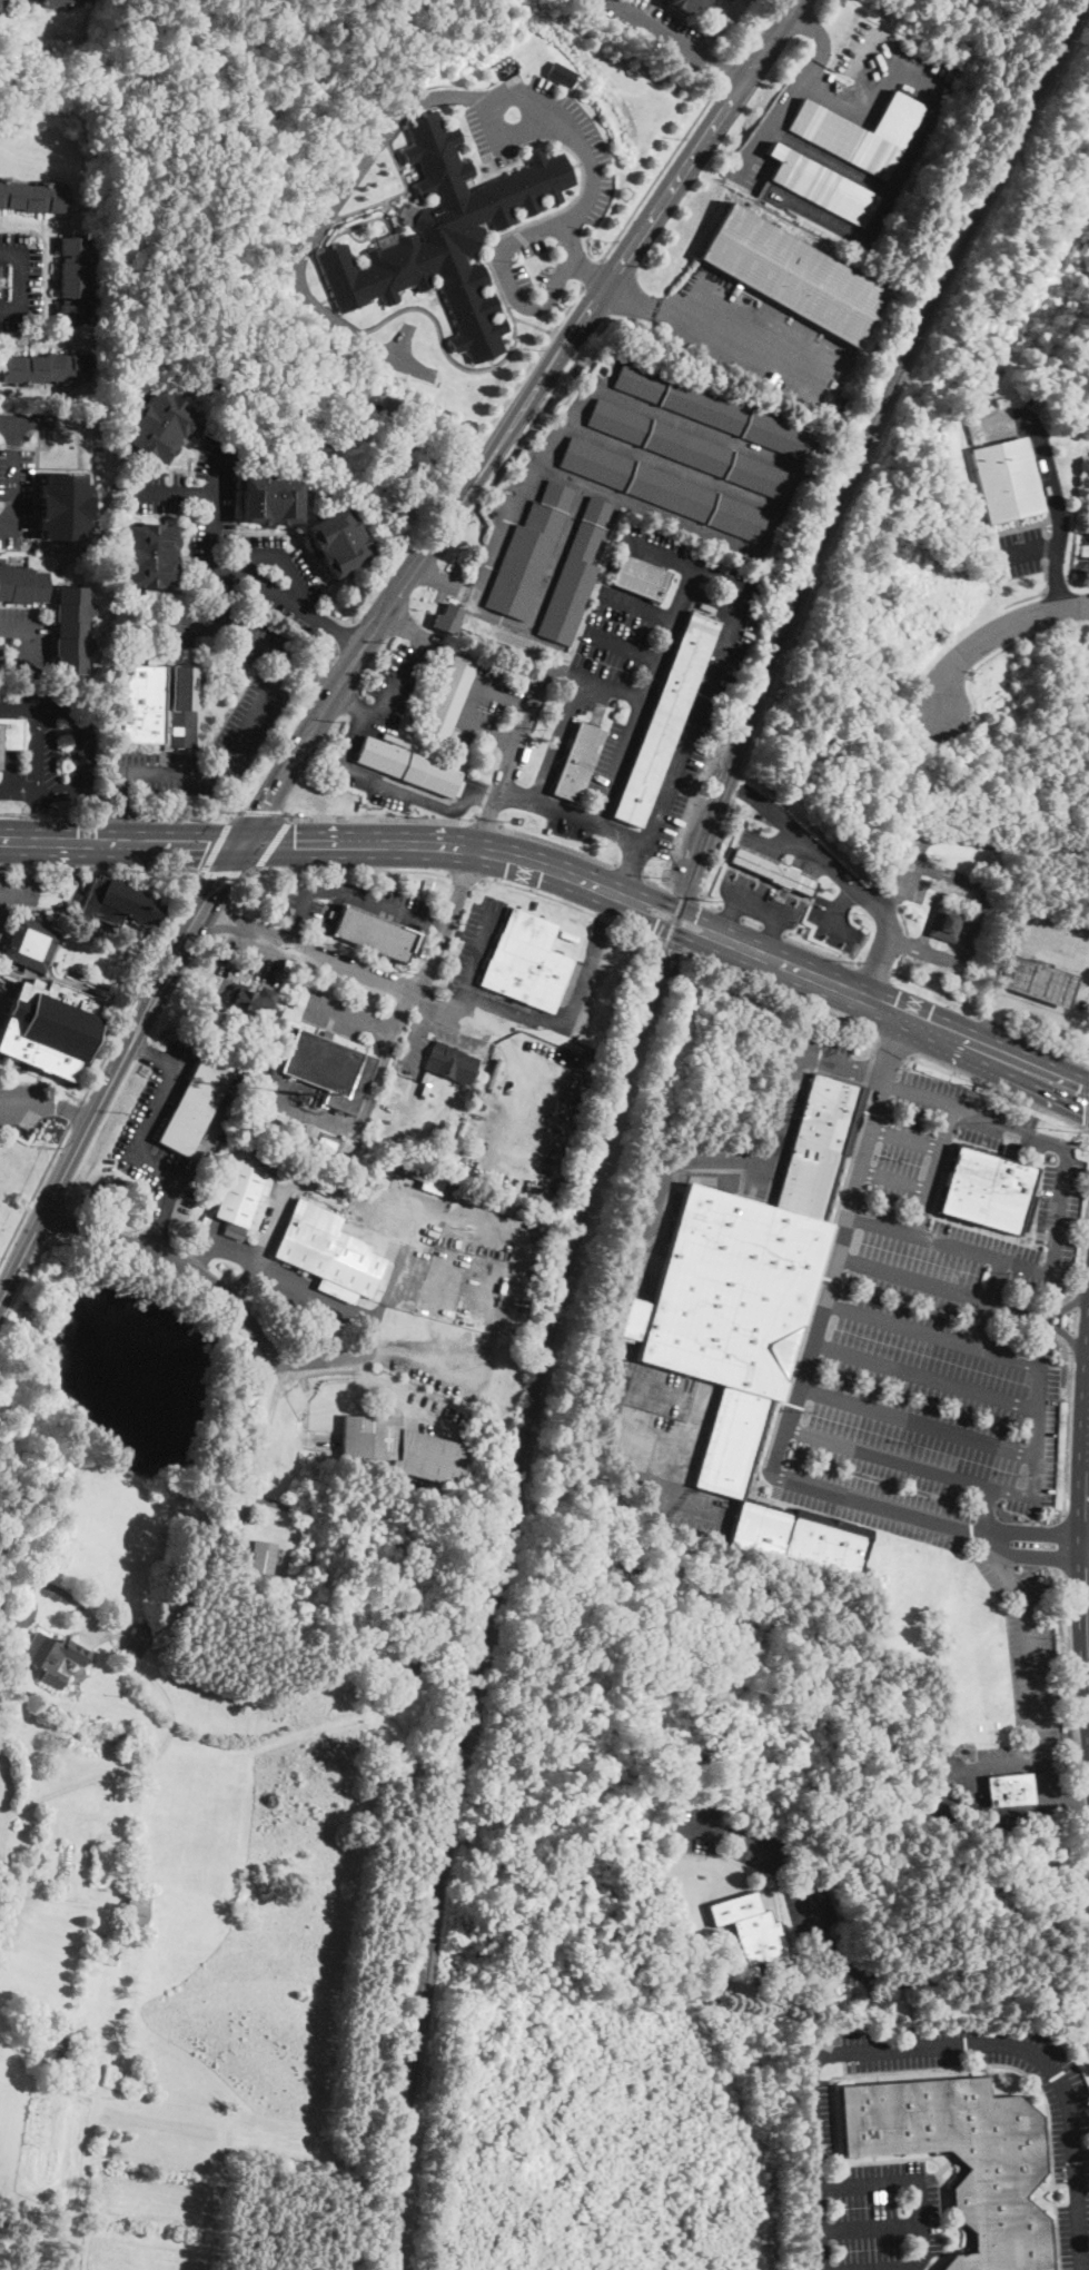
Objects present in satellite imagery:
building: (58, 2)
building: (687, 4)
parking lot: (656, 29)
road: (756, 31)
road: (674, 42)
building: (558, 73)
road: (727, 73)
road: (798, 92)
road: (547, 107)
road: (873, 108)
parking lot: (538, 131)
building: (860, 131)
road: (660, 172)
building: (821, 184)
building: (32, 197)
road: (323, 217)
building: (447, 236)
road: (592, 271)
road: (592, 272)
building: (794, 275)
road: (506, 277)
parking lot: (20, 279)
building: (75, 279)
road: (22, 280)
road: (713, 335)
parking lot: (753, 337)
building: (1086, 354)
road: (535, 358)
building: (48, 368)
building: (712, 410)
road: (517, 417)
parking lot: (1006, 422)
building: (158, 426)
road: (703, 430)
building: (350, 433)
road: (1, 444)
building: (402, 444)
road: (11, 445)
building: (685, 448)
road: (216, 467)
road: (12, 477)
building: (1007, 478)
road: (33, 484)
building: (663, 489)
parking lot: (14, 495)
road: (17, 497)
building: (270, 499)
road: (0, 502)
building: (59, 505)
road: (1059, 512)
parking lot: (220, 513)
building: (338, 542)
parking lot: (1021, 551)
road: (1029, 551)
building: (528, 553)
parking lot: (1082, 554)
road: (284, 555)
parking lot: (675, 555)
building: (149, 556)
road: (221, 569)
building: (575, 576)
building: (641, 578)
parking lot: (275, 579)
road: (380, 584)
building: (21, 585)
road: (1038, 593)
road: (634, 605)
building: (447, 619)
road: (405, 624)
road: (14, 630)
building: (73, 630)
road: (993, 634)
road: (345, 636)
road: (1026, 637)
parking lot: (23, 642)
parking lot: (612, 642)
road: (618, 643)
road: (29, 651)
road: (717, 660)
road: (333, 661)
road: (310, 676)
road: (593, 681)
road: (317, 683)
parking lot: (393, 686)
road: (270, 690)
road: (640, 692)
building: (448, 697)
parking lot: (10, 701)
building: (155, 701)
road: (471, 702)
road: (20, 704)
road: (354, 705)
parking lot: (481, 705)
parking lot: (704, 710)
parking lot: (253, 715)
building: (666, 716)
road: (76, 733)
building: (10, 735)
road: (558, 739)
road: (9, 747)
road: (39, 749)
parking lot: (56, 749)
parking lot: (614, 757)
road: (271, 760)
road: (343, 761)
building: (577, 761)
building: (408, 767)
parking lot: (369, 781)
parking lot: (12, 790)
road: (18, 791)
road: (55, 791)
road: (483, 795)
road: (122, 809)
road: (263, 810)
road: (51, 814)
road: (36, 815)
road: (121, 815)
road: (184, 816)
road: (380, 817)
road: (486, 817)
road: (595, 823)
road: (484, 826)
parking lot: (567, 827)
road: (967, 840)
road: (273, 841)
road: (122, 842)
traffic signals: (247, 842)
road: (557, 843)
road: (438, 844)
road: (217, 845)
road: (27, 865)
road: (91, 868)
road: (627, 868)
road: (251, 869)
road: (347, 870)
building: (772, 872)
road: (222, 873)
road: (465, 876)
road: (647, 880)
road: (850, 880)
parking lot: (22, 891)
road: (16, 893)
road: (352, 893)
road: (3, 896)
road: (555, 898)
parking lot: (354, 900)
road: (840, 902)
building: (119, 903)
road: (674, 905)
road: (932, 905)
road: (759, 906)
road: (230, 909)
road: (608, 909)
road: (717, 909)
road: (3, 911)
road: (731, 913)
road: (730, 918)
road: (902, 920)
road: (752, 923)
building: (946, 923)
road: (973, 924)
road: (437, 925)
road: (218, 926)
road: (836, 926)
road: (664, 929)
road: (773, 931)
road: (294, 934)
building: (375, 934)
road: (772, 935)
road: (903, 943)
building: (31, 944)
road: (267, 945)
road: (1056, 946)
road: (822, 951)
road: (258, 952)
road: (424, 956)
road: (335, 961)
parking lot: (254, 962)
building: (526, 962)
road: (898, 963)
parking lot: (603, 964)
road: (872, 968)
building: (1037, 981)
gas station: (1037, 981)
road: (132, 984)
road: (935, 989)
road: (458, 997)
road: (790, 997)
building: (250, 999)
road: (427, 1003)
road: (522, 1009)
road: (1043, 1010)
road: (353, 1011)
road: (903, 1012)
parking lot: (339, 1014)
road: (420, 1020)
road: (992, 1021)
road: (507, 1022)
building: (50, 1028)
road: (563, 1033)
parking lot: (427, 1037)
road: (482, 1039)
road: (1047, 1048)
road: (893, 1050)
parking lot: (821, 1051)
road: (145, 1052)
road: (380, 1060)
building: (451, 1062)
road: (841, 1067)
road: (119, 1068)
building: (329, 1069)
building: (495, 1073)
road: (522, 1087)
road: (999, 1089)
traffic signals: (1085, 1091)
railway: (616, 1098)
parking lot: (19, 1101)
road: (24, 1106)
building: (195, 1108)
road: (71, 1109)
road: (300, 1110)
road: (75, 1113)
parking lot: (528, 1114)
parking lot: (142, 1127)
building: (307, 1133)
road: (905, 1139)
road: (137, 1147)
road: (205, 1150)
road: (934, 1171)
building: (424, 1178)
road: (893, 1181)
road: (310, 1186)
parking lot: (895, 1187)
building: (242, 1190)
building: (988, 1191)
road: (34, 1192)
road: (1057, 1220)
road: (154, 1235)
road: (838, 1242)
road: (1082, 1242)
road: (209, 1246)
parking lot: (452, 1251)
building: (329, 1253)
road: (635, 1260)
road: (392, 1279)
road: (290, 1286)
road: (931, 1286)
building: (745, 1287)
road: (497, 1298)
road: (1076, 1301)
road: (988, 1302)
road: (1059, 1307)
road: (246, 1320)
road: (1073, 1322)
road: (1060, 1330)
road: (1071, 1344)
road: (344, 1357)
road: (923, 1376)
parking lot: (456, 1381)
road: (651, 1389)
road: (390, 1394)
road: (1081, 1418)
road: (917, 1421)
parking lot: (924, 1423)
road: (693, 1425)
road: (1067, 1434)
road: (654, 1436)
parking lot: (659, 1441)
road: (1036, 1445)
building: (403, 1448)
road: (877, 1504)
road: (988, 1511)
road: (1034, 1531)
building: (795, 1539)
road: (1065, 1546)
building: (264, 1556)
road: (1031, 1558)
building: (319, 1570)
road: (29, 1613)
road: (108, 1628)
building: (139, 1639)
building: (55, 1657)
parking lot: (1031, 1674)
road: (1031, 1674)
road: (1069, 1682)
building: (65, 1742)
road: (164, 1743)
road: (940, 1788)
building: (1009, 1790)
road: (1079, 1802)
road: (1066, 1804)
road: (771, 1847)
road: (1085, 1860)
parking lot: (760, 1861)
building: (63, 1868)
building: (14, 1879)
building: (137, 1911)
building: (753, 1933)
building: (103, 1952)
road: (952, 1966)
building: (723, 1976)
road: (8, 2028)
building: (52, 2048)
road: (934, 2048)
building: (88, 2073)
crop: (159, 2119)
parking lot: (1070, 2133)
crop: (43, 2142)
building: (963, 2159)
road: (918, 2187)
crop: (152, 2200)
road: (870, 2228)
crop: (141, 2254)
road: (907, 2269)

